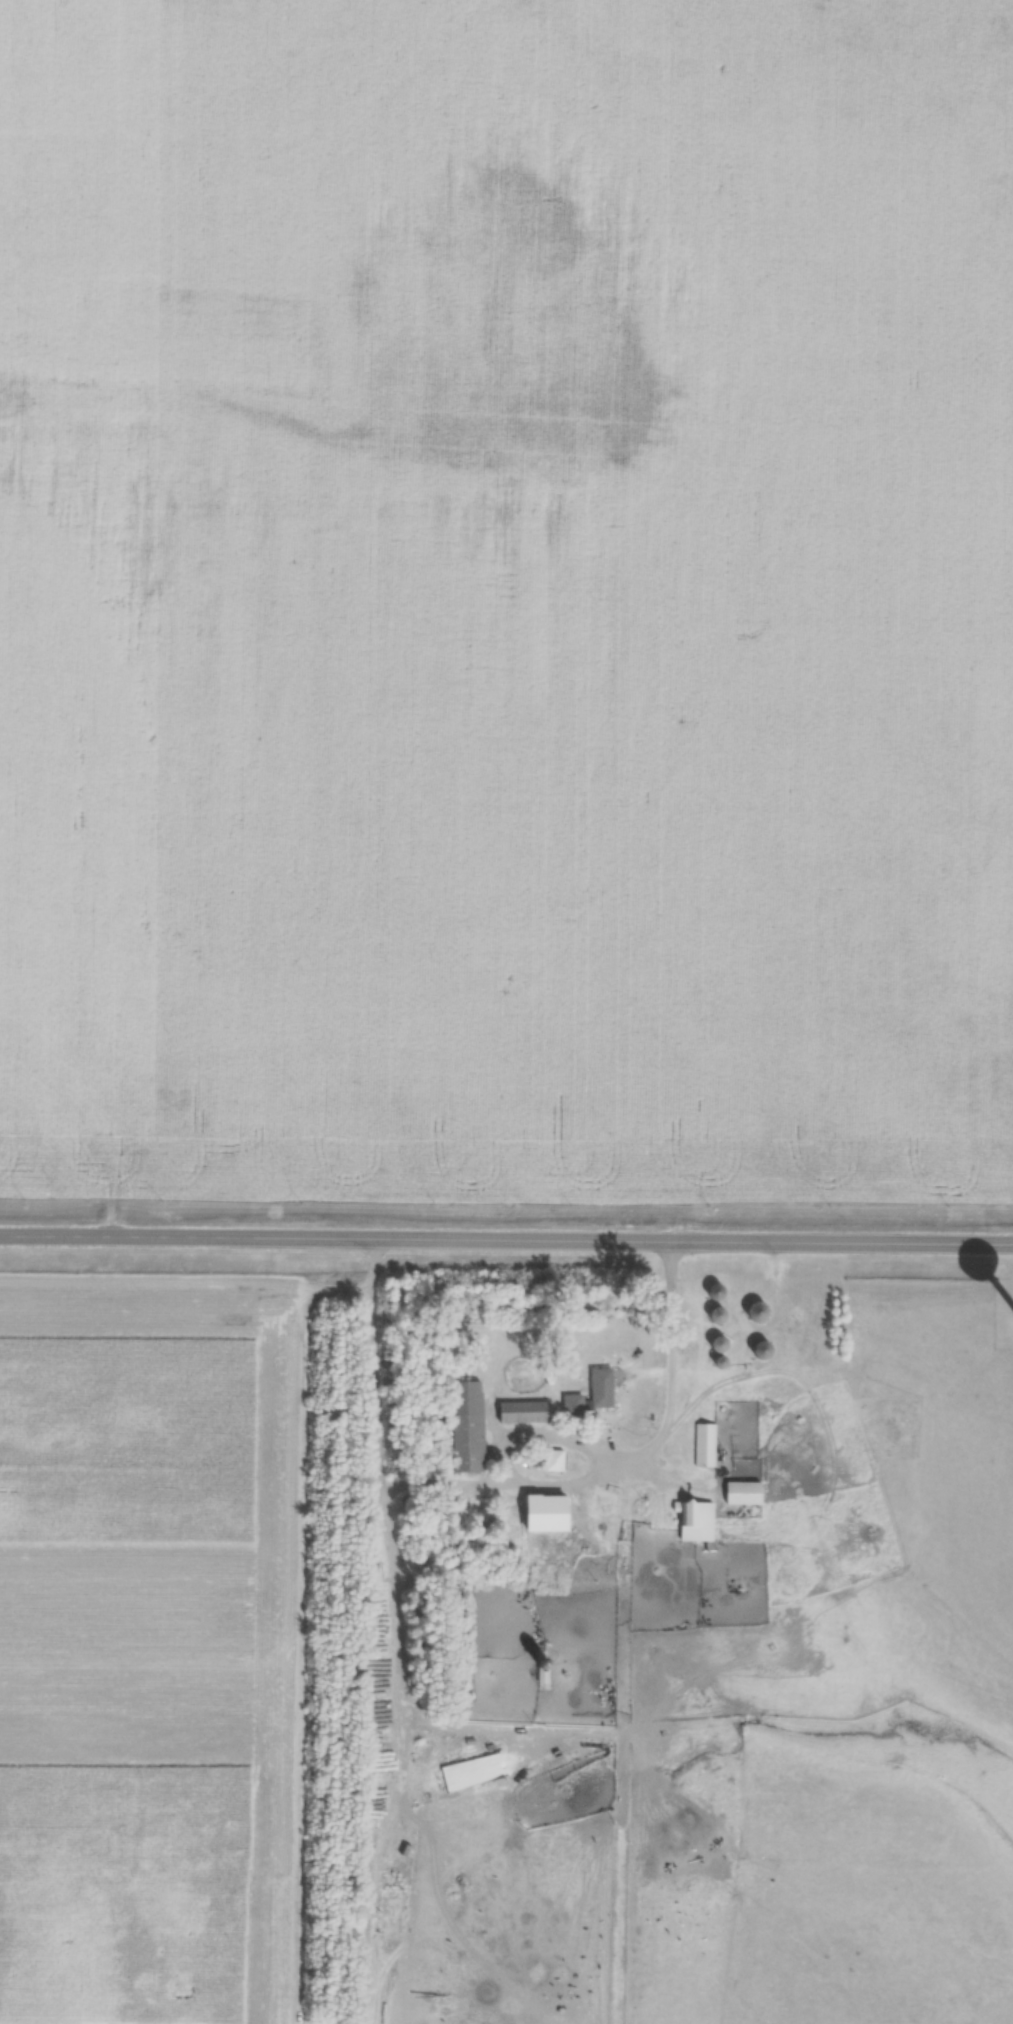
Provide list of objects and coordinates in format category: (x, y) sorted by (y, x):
road: (506, 1235)
building: (710, 1291)
building: (752, 1311)
building: (711, 1315)
building: (754, 1349)
building: (714, 1351)
road: (668, 1372)
building: (588, 1394)
building: (520, 1411)
building: (464, 1425)
building: (702, 1445)
building: (549, 1460)
building: (736, 1493)
building: (545, 1502)
building: (596, 1505)
building: (691, 1520)

